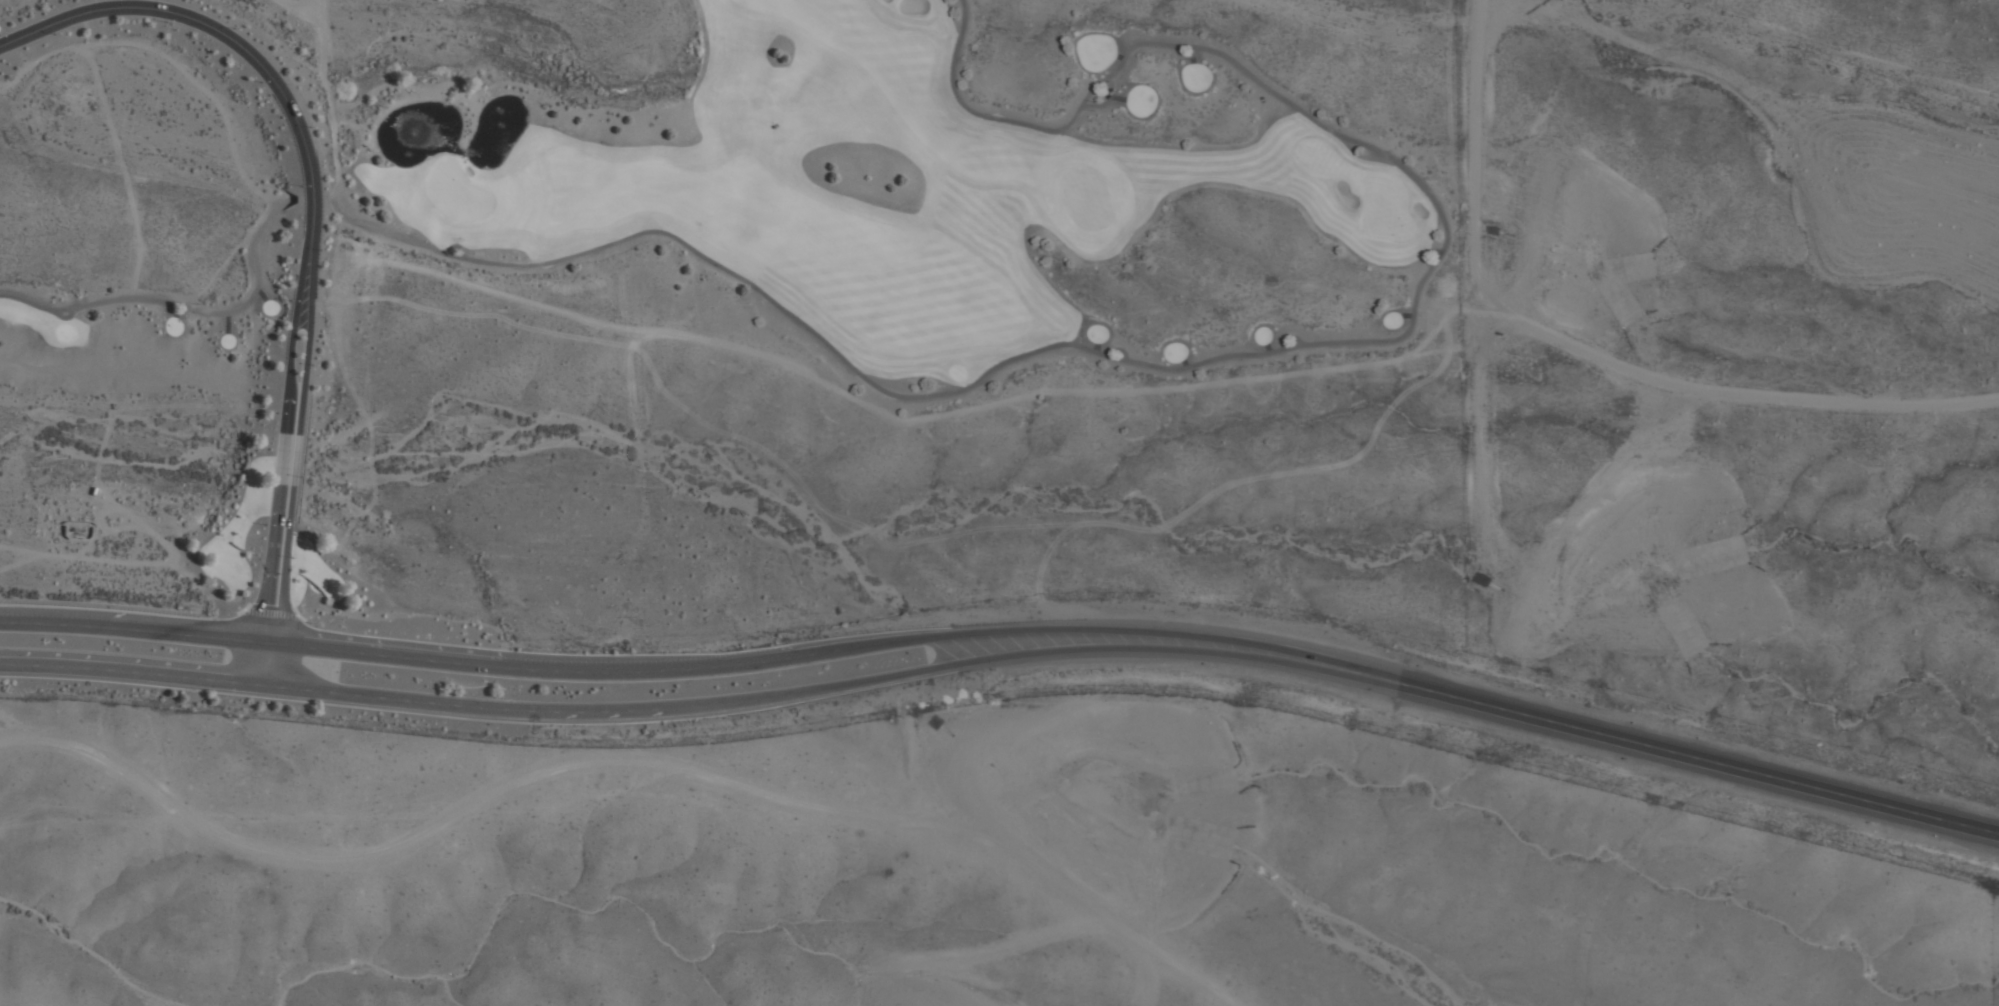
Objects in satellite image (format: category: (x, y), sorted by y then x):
road: (202, 27)
road: (327, 97)
park: (819, 208)
road: (184, 303)
road: (1231, 352)
road: (279, 443)
road: (296, 445)
road: (242, 608)
road: (269, 612)
road: (297, 615)
road: (127, 629)
road: (1154, 636)
road: (1170, 655)
road: (598, 674)
road: (131, 675)
road: (621, 714)
road: (1681, 752)
road: (619, 753)

